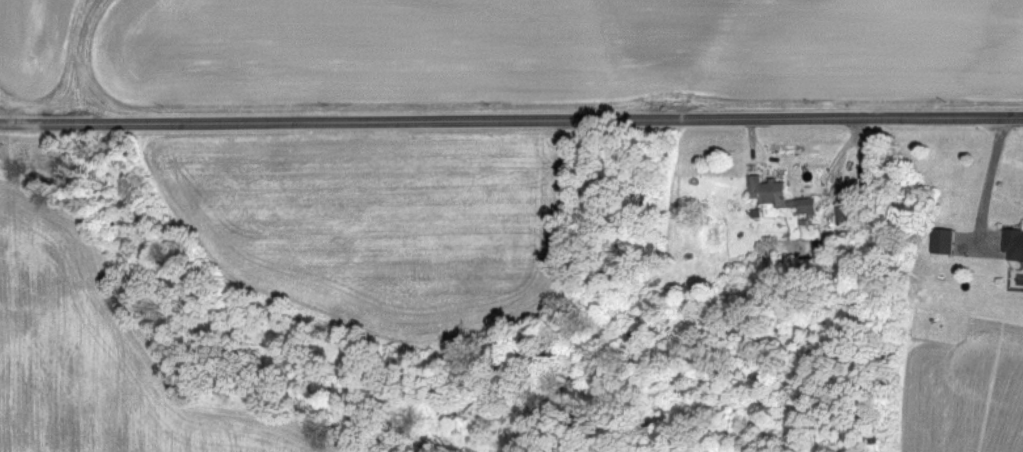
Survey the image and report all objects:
road: (511, 122)
road: (984, 182)
building: (782, 196)
building: (947, 242)
building: (1016, 245)

